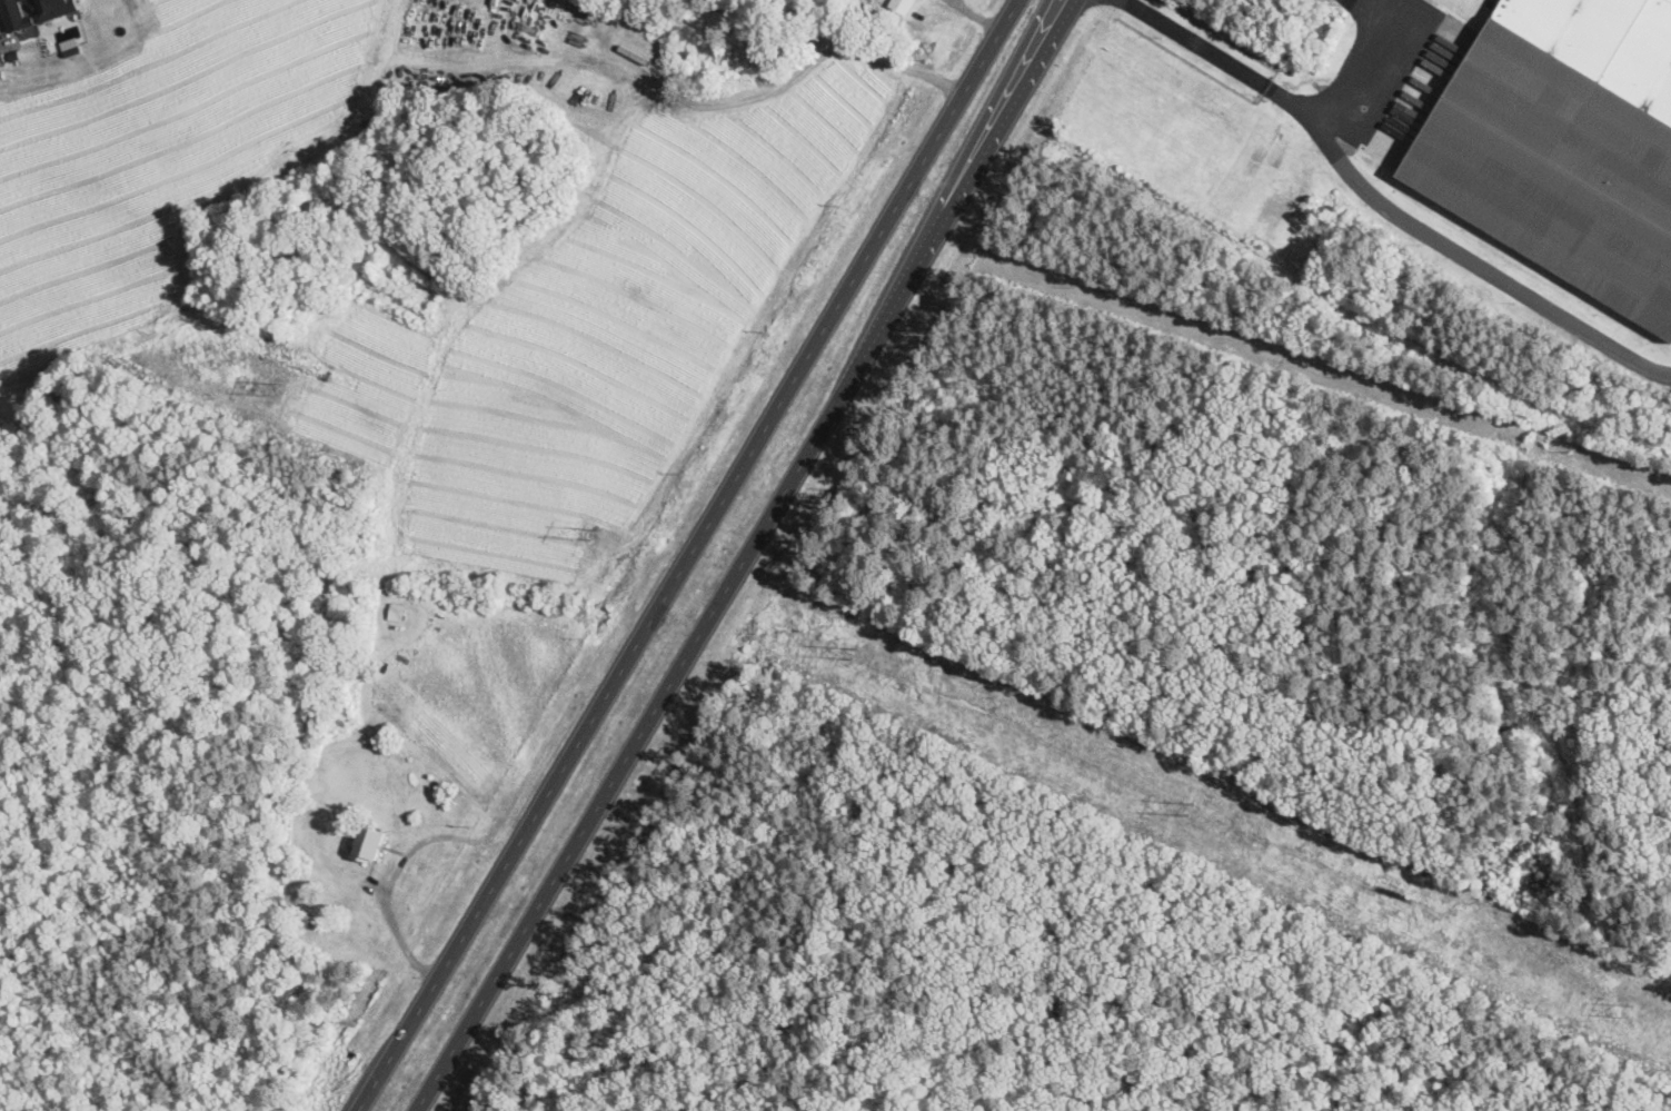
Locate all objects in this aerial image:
building: (902, 7)
building: (748, 33)
road: (1364, 41)
building: (682, 56)
building: (1564, 143)
road: (962, 196)
road: (1382, 211)
power tower: (275, 386)
road: (687, 555)
power tower: (702, 581)
road: (628, 750)
power tower: (1188, 802)
building: (367, 846)
power tower: (1633, 1009)

